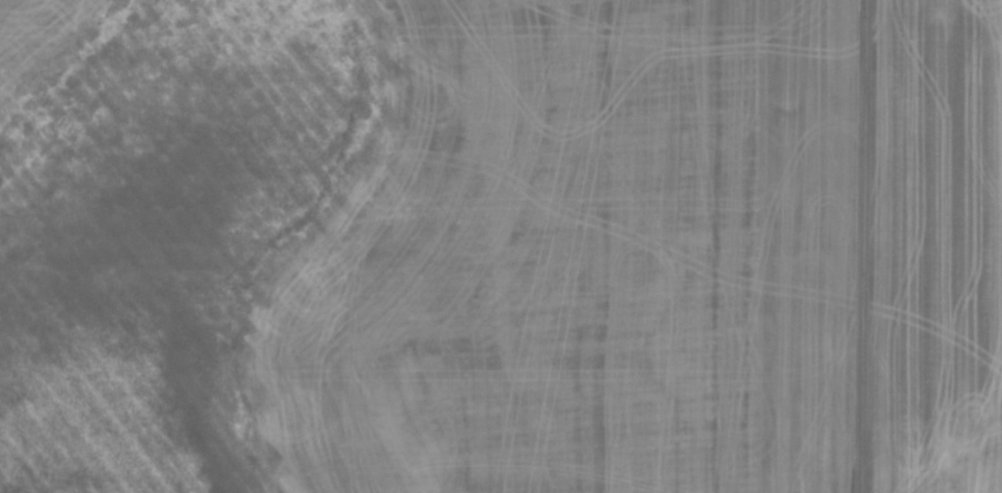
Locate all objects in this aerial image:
road: (858, 246)

